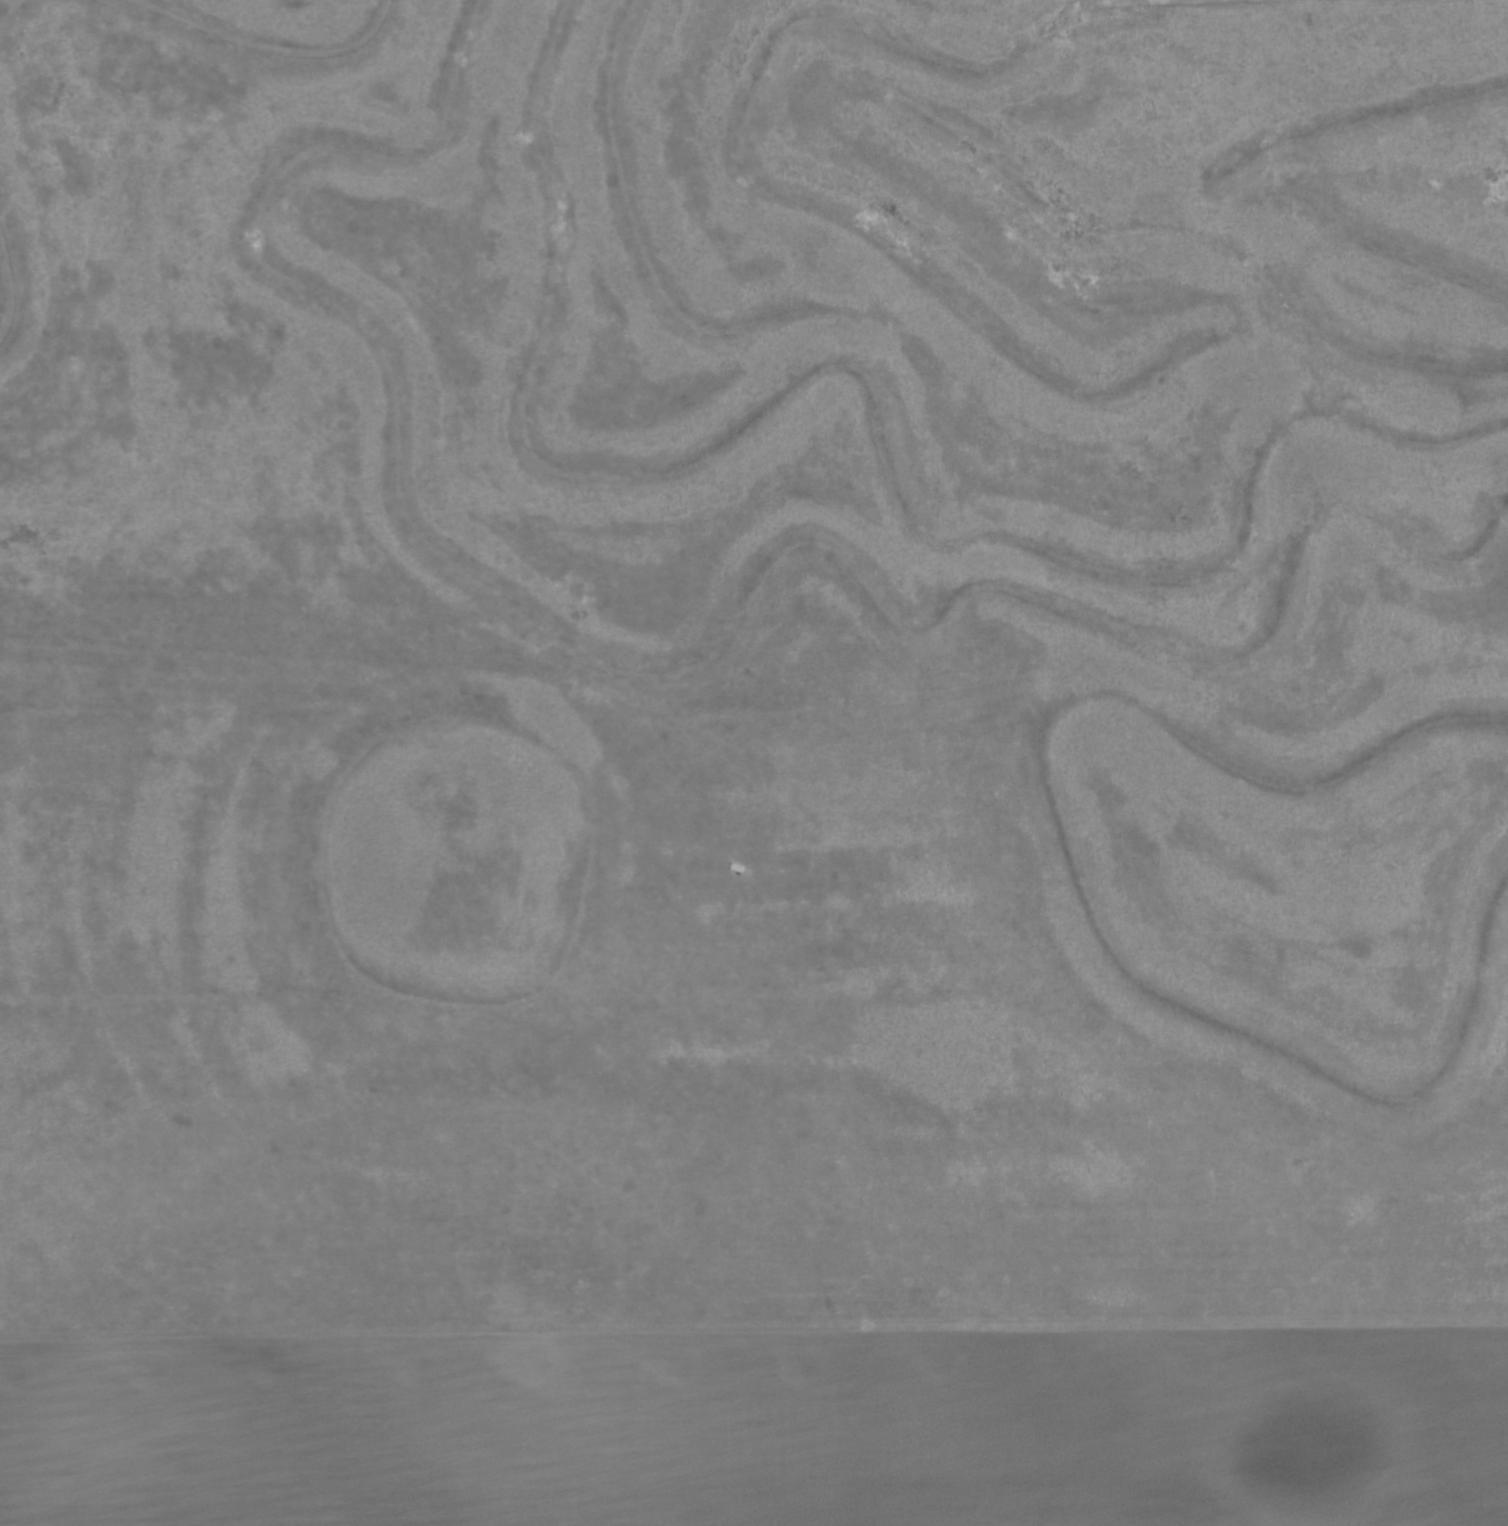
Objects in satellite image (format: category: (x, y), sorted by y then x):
crop: (767, 1429)

